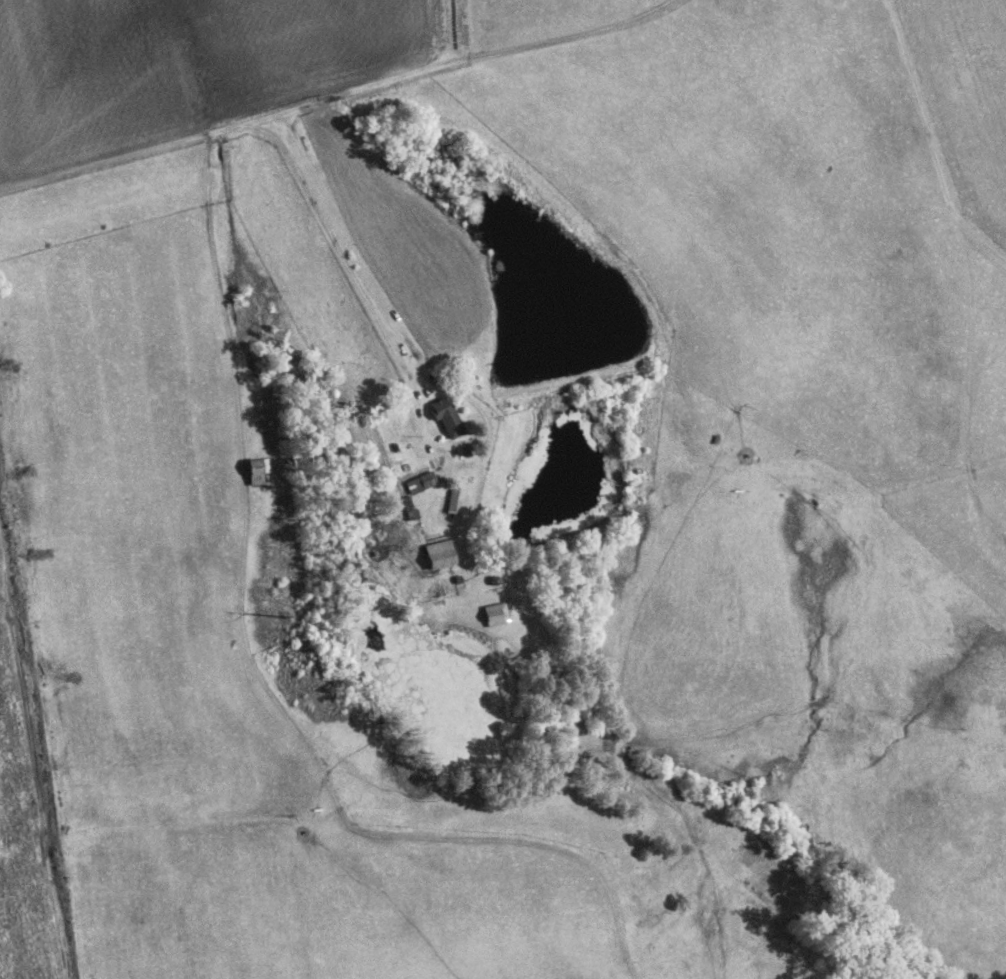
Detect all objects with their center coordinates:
road: (558, 47)
road: (573, 401)
building: (444, 423)
building: (253, 472)
building: (417, 485)
building: (436, 556)
building: (492, 614)

